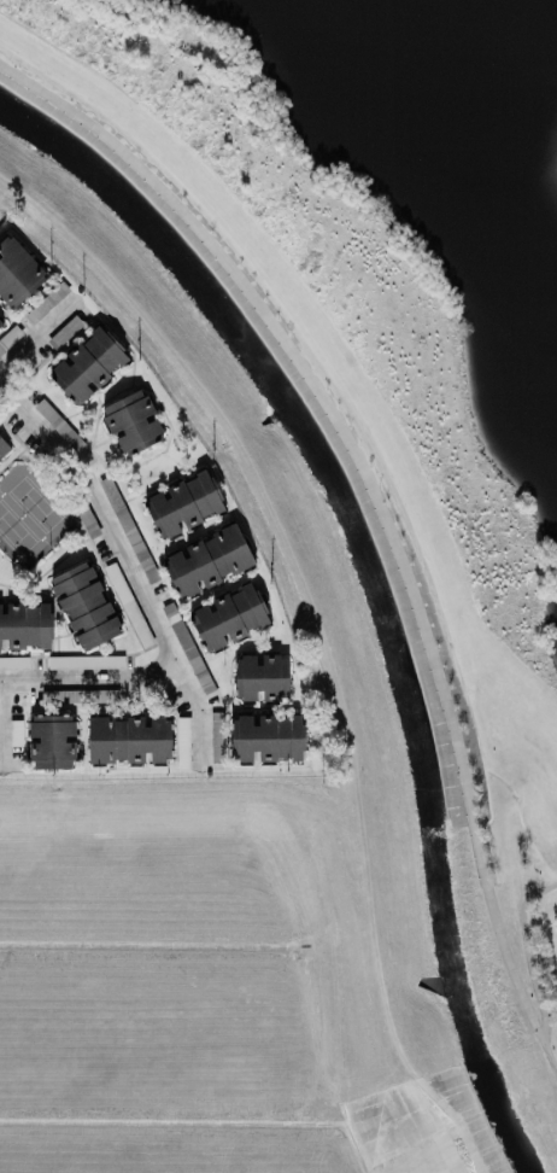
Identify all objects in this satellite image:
building: (17, 273)
building: (0, 325)
road: (35, 327)
building: (87, 366)
park: (370, 367)
building: (131, 422)
building: (2, 447)
building: (183, 503)
road: (377, 517)
road: (134, 549)
building: (209, 560)
building: (84, 606)
river: (363, 608)
building: (228, 617)
building: (25, 626)
building: (86, 661)
building: (13, 663)
road: (95, 669)
building: (262, 677)
road: (5, 722)
building: (16, 733)
building: (265, 737)
building: (129, 739)
building: (52, 741)
road: (523, 953)

